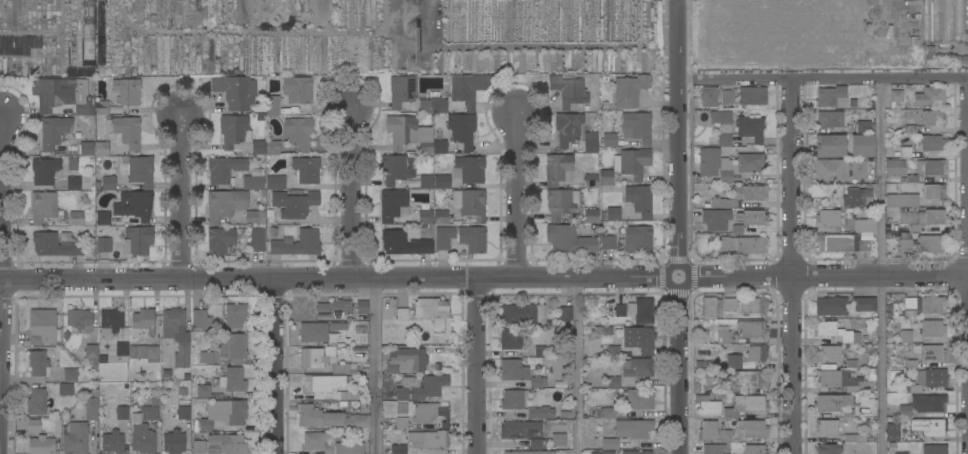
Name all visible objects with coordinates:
power tower: (418, 10)
building: (948, 20)
building: (959, 20)
building: (926, 21)
building: (937, 21)
building: (101, 31)
building: (88, 32)
power tower: (413, 49)
building: (942, 58)
road: (822, 78)
building: (468, 89)
building: (127, 90)
building: (630, 90)
building: (235, 91)
building: (401, 91)
building: (568, 91)
building: (298, 92)
building: (63, 94)
building: (842, 95)
building: (752, 96)
building: (896, 96)
building: (709, 97)
building: (727, 97)
building: (929, 97)
building: (604, 99)
building: (272, 106)
building: (432, 106)
building: (101, 107)
building: (916, 115)
building: (933, 118)
building: (830, 119)
building: (867, 123)
building: (637, 126)
building: (722, 127)
building: (568, 128)
building: (750, 128)
building: (905, 129)
building: (234, 130)
building: (462, 130)
building: (128, 131)
building: (54, 132)
building: (298, 132)
building: (406, 132)
road: (677, 133)
building: (608, 140)
building: (590, 142)
building: (931, 143)
building: (271, 144)
building: (830, 145)
building: (861, 145)
building: (258, 147)
building: (440, 147)
building: (86, 148)
building: (101, 148)
building: (426, 148)
building: (906, 152)
building: (633, 163)
building: (73, 164)
building: (727, 164)
building: (895, 168)
building: (224, 169)
building: (469, 169)
building: (558, 169)
building: (859, 169)
building: (138, 170)
building: (306, 170)
building: (394, 170)
building: (926, 170)
building: (44, 171)
building: (830, 171)
building: (606, 177)
building: (254, 180)
building: (591, 181)
building: (426, 182)
building: (441, 182)
building: (108, 183)
building: (275, 183)
building: (413, 183)
building: (73, 184)
building: (98, 186)
building: (741, 196)
building: (859, 196)
road: (354, 197)
road: (514, 197)
building: (917, 197)
road: (182, 199)
building: (640, 200)
building: (561, 203)
building: (225, 204)
building: (294, 204)
building: (392, 204)
building: (470, 204)
building: (134, 205)
building: (43, 206)
building: (611, 214)
building: (424, 215)
building: (591, 216)
building: (254, 217)
building: (441, 217)
building: (907, 217)
building: (76, 218)
building: (102, 218)
building: (830, 218)
building: (715, 219)
building: (928, 219)
building: (749, 220)
building: (888, 221)
building: (864, 225)
building: (891, 229)
building: (443, 238)
building: (222, 239)
building: (472, 239)
building: (568, 239)
building: (638, 239)
building: (137, 240)
building: (257, 240)
building: (608, 242)
building: (294, 243)
building: (405, 243)
building: (841, 243)
road: (3, 244)
building: (56, 244)
building: (104, 244)
building: (930, 244)
building: (743, 245)
building: (905, 245)
road: (881, 265)
road: (792, 266)
road: (686, 276)
road: (828, 277)
road: (334, 280)
building: (729, 304)
building: (863, 304)
building: (932, 305)
building: (752, 306)
building: (831, 306)
building: (908, 306)
building: (362, 307)
building: (709, 307)
building: (333, 309)
building: (642, 310)
building: (620, 311)
building: (432, 312)
building: (402, 314)
building: (522, 314)
building: (565, 314)
building: (889, 314)
building: (234, 315)
building: (357, 317)
building: (80, 320)
building: (200, 320)
building: (172, 322)
building: (110, 323)
building: (858, 323)
building: (142, 324)
building: (42, 327)
building: (753, 329)
building: (932, 329)
building: (618, 330)
building: (329, 331)
building: (602, 331)
building: (835, 332)
building: (890, 333)
building: (723, 335)
building: (906, 337)
building: (513, 339)
building: (639, 339)
building: (233, 346)
building: (122, 349)
building: (359, 350)
building: (540, 351)
building: (612, 351)
building: (144, 353)
building: (756, 353)
building: (932, 353)
building: (829, 354)
building: (51, 355)
building: (91, 355)
building: (182, 355)
building: (206, 357)
building: (358, 357)
building: (531, 359)
building: (324, 360)
building: (405, 361)
building: (733, 362)
building: (911, 363)
building: (38, 364)
building: (850, 364)
road: (477, 366)
road: (576, 366)
road: (275, 367)
road: (376, 367)
building: (637, 367)
building: (513, 370)
building: (539, 370)
road: (679, 370)
building: (871, 371)
building: (70, 375)
building: (834, 378)
building: (348, 379)
building: (750, 379)
building: (929, 379)
building: (231, 380)
building: (537, 382)
building: (614, 382)
building: (323, 383)
building: (559, 384)
building: (420, 387)
building: (859, 387)
building: (905, 388)
building: (66, 389)
building: (718, 389)
building: (155, 391)
building: (182, 391)
building: (203, 391)
building: (342, 395)
building: (353, 396)
building: (515, 398)
building: (639, 399)
building: (192, 401)
building: (36, 402)
building: (154, 402)
building: (835, 402)
building: (923, 404)
building: (708, 406)
building: (746, 406)
building: (91, 407)
building: (168, 411)
building: (121, 413)
building: (183, 413)
building: (431, 413)
building: (605, 413)
building: (849, 413)
building: (224, 414)
building: (565, 414)
building: (328, 418)
building: (401, 423)
building: (527, 424)
building: (149, 425)
building: (33, 426)
building: (929, 427)
building: (828, 428)
building: (632, 429)
building: (753, 429)
building: (144, 430)
building: (708, 431)
building: (892, 433)
building: (557, 436)
building: (725, 436)
building: (75, 437)
building: (855, 438)
building: (428, 439)
building: (870, 439)
building: (314, 441)
building: (112, 442)
building: (173, 442)
building: (228, 443)
building: (538, 444)
building: (610, 444)
building: (41, 445)
building: (198, 447)
building: (348, 448)
building: (713, 449)
building: (754, 449)
building: (828, 449)
building: (934, 449)
building: (398, 450)
building: (529, 452)
building: (607, 452)
building: (637, 452)
building: (901, 453)

